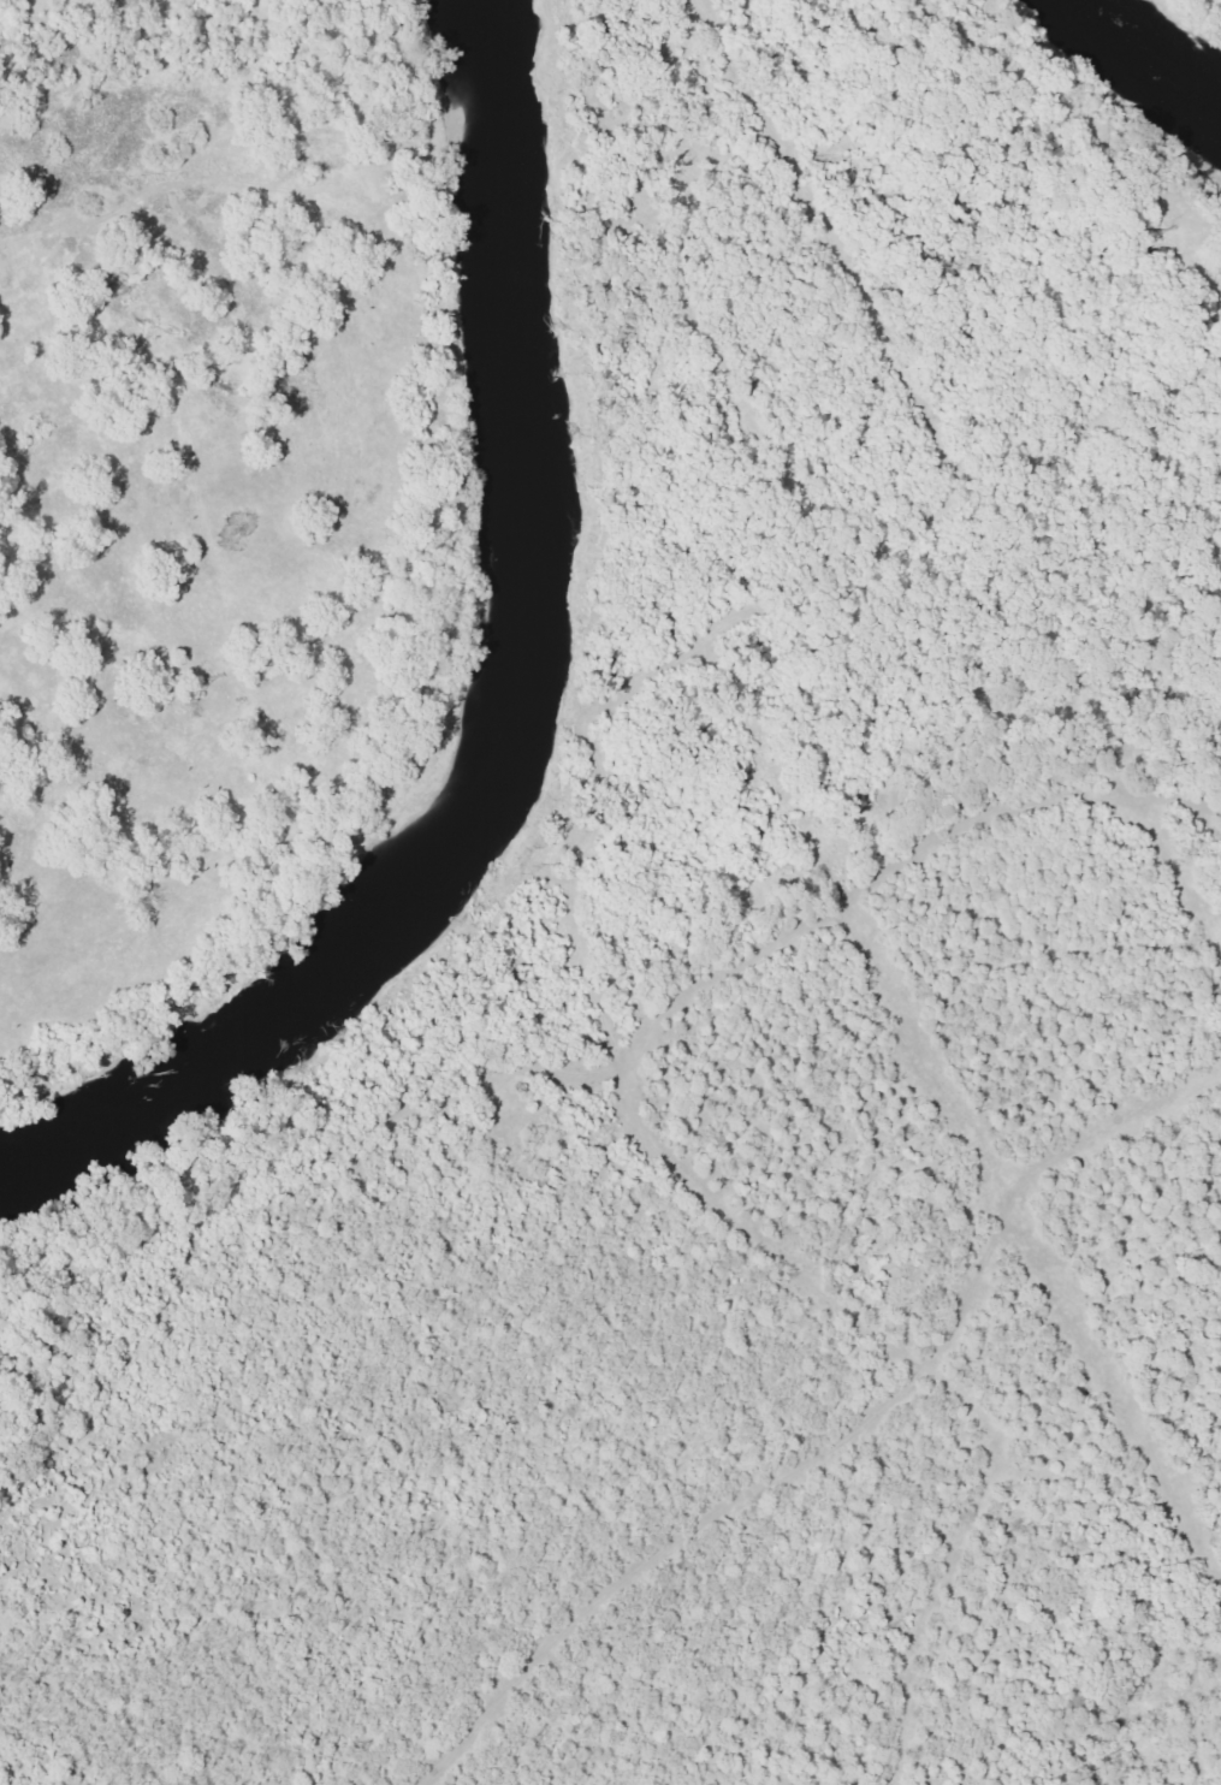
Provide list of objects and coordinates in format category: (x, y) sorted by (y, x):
river: (1152, 46)
river: (498, 705)
road: (46, 1033)

